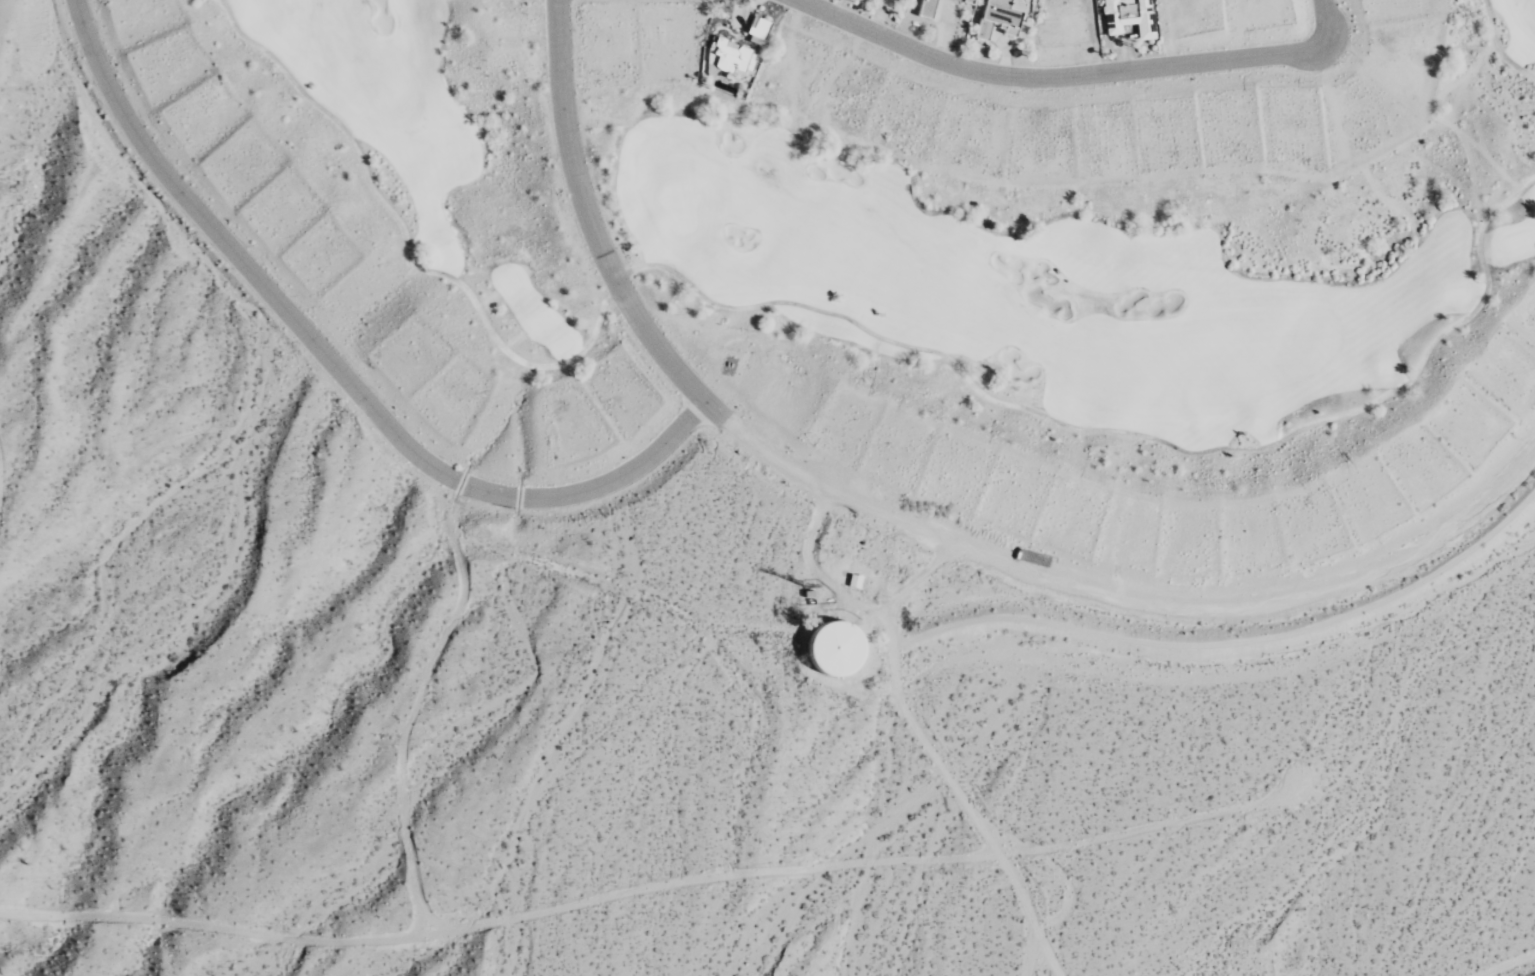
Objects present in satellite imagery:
building: (969, 1)
building: (923, 9)
building: (1127, 16)
building: (995, 19)
building: (757, 28)
road: (1497, 47)
building: (731, 57)
road: (1072, 77)
park: (679, 213)
park: (923, 247)
road: (334, 366)
road: (1128, 439)
building: (832, 644)

